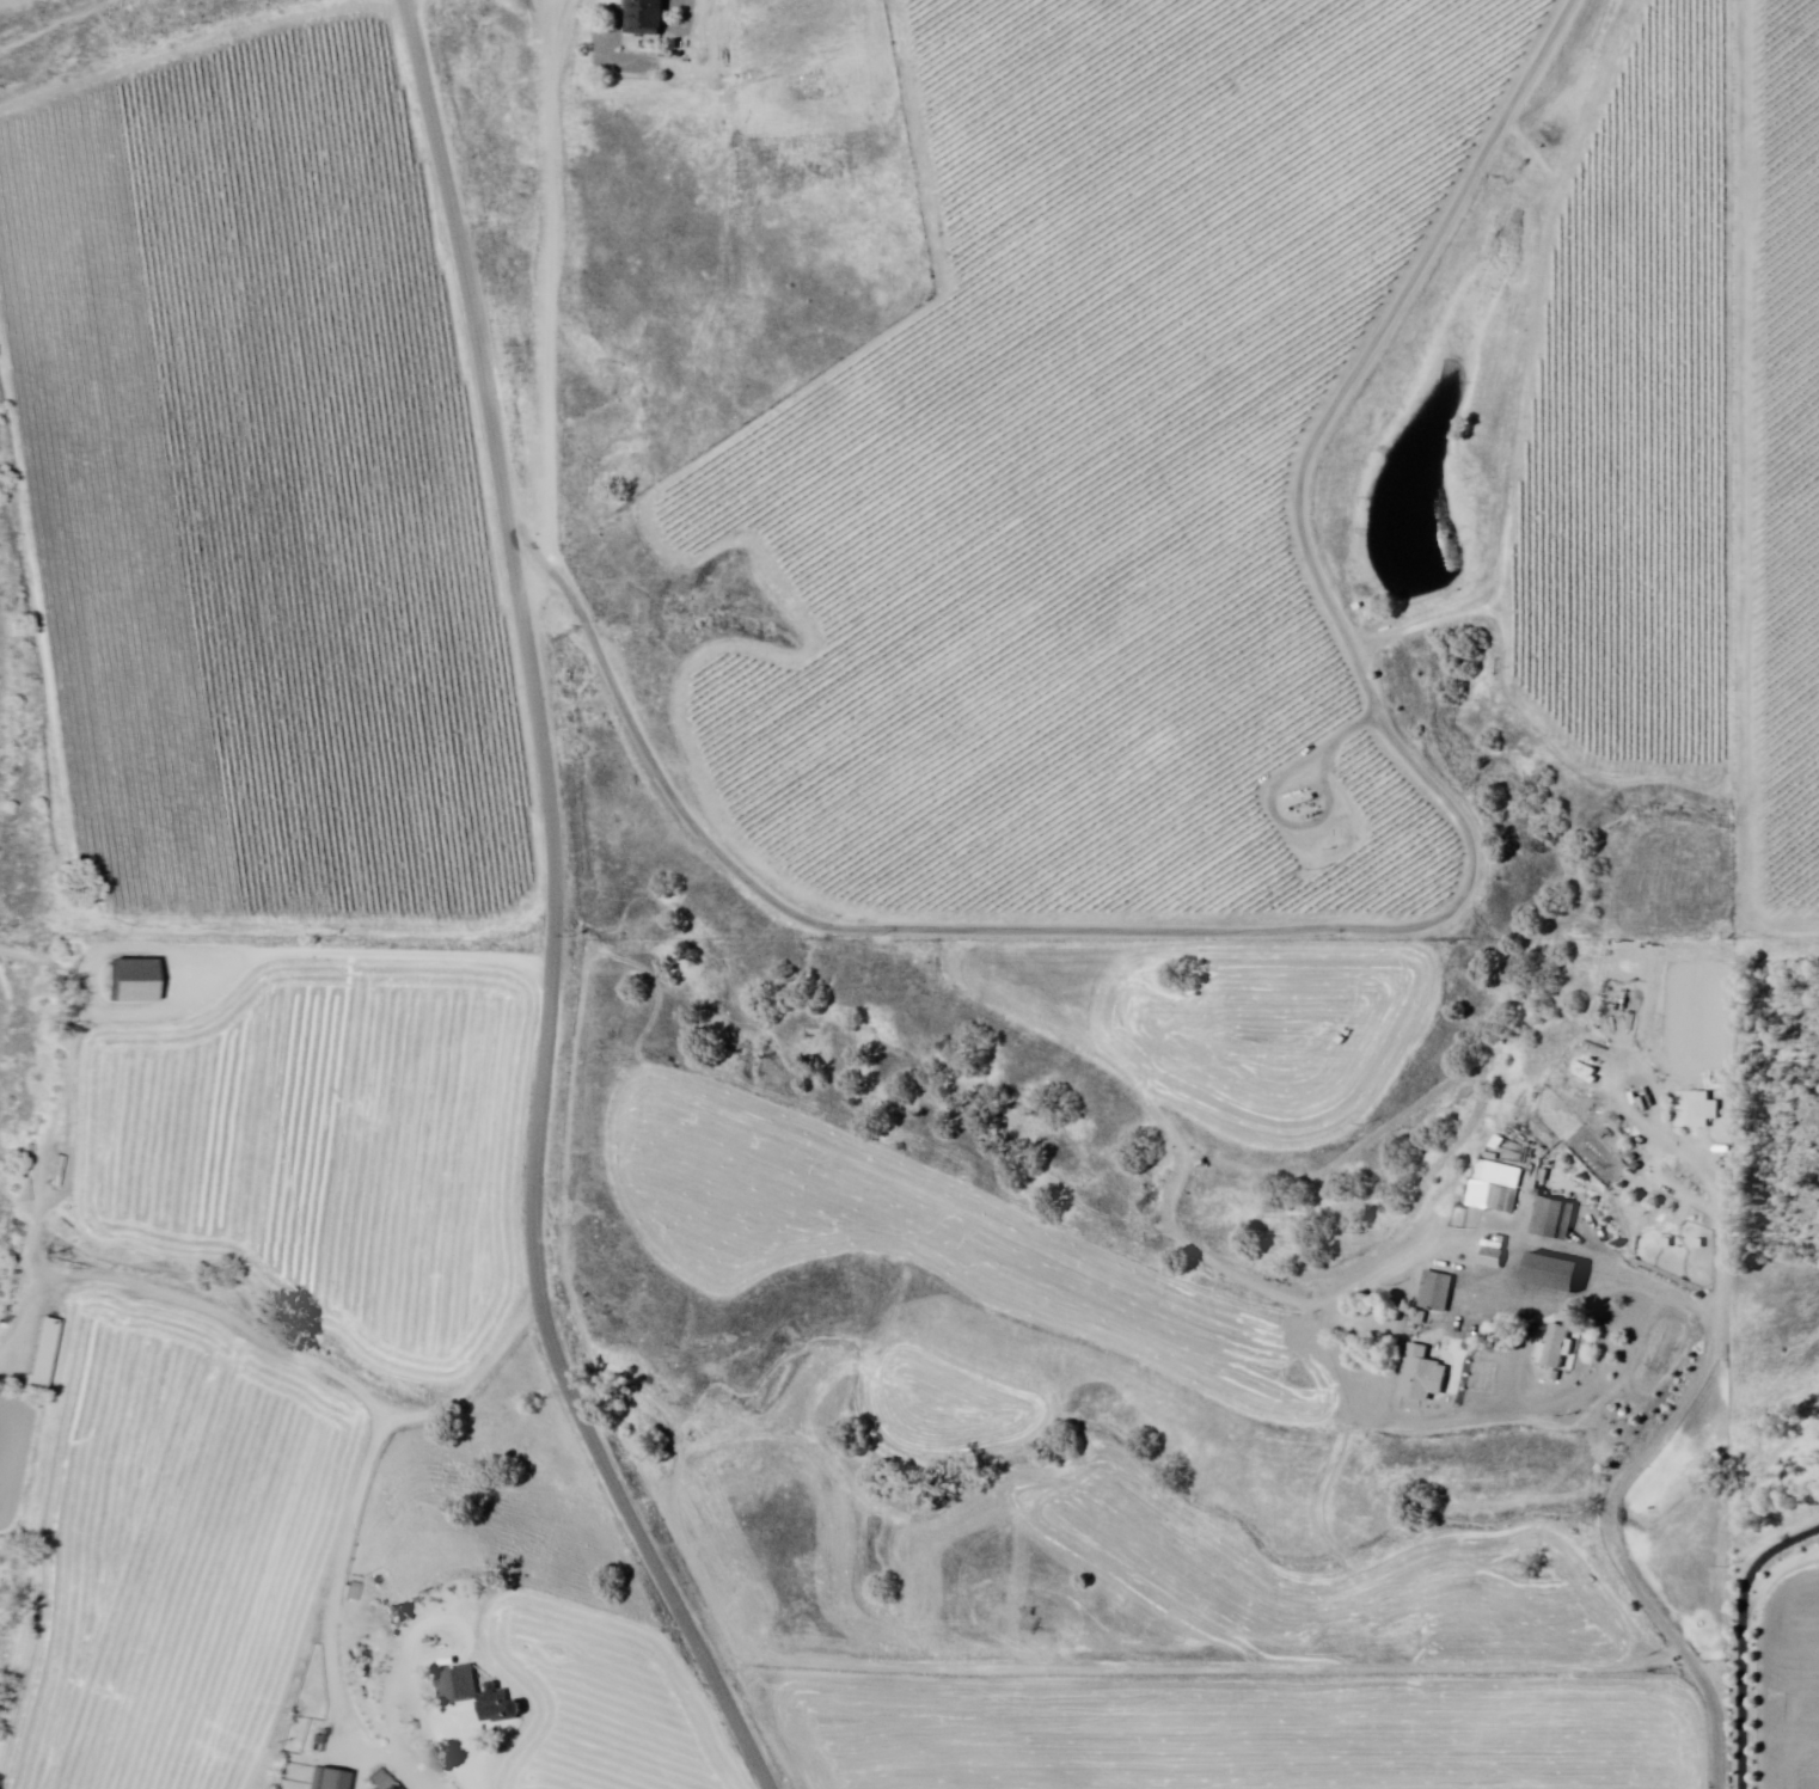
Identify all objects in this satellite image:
building: (648, 18)
road: (549, 295)
crop: (1355, 323)
crop: (263, 495)
road: (550, 914)
building: (133, 986)
building: (1705, 1110)
crop: (331, 1147)
building: (1503, 1201)
building: (1555, 1221)
building: (1670, 1245)
building: (1701, 1245)
building: (1495, 1256)
building: (1557, 1278)
building: (1438, 1293)
building: (1557, 1349)
building: (1426, 1378)
building: (1563, 1379)
storage tank: (1618, 1409)
storage tank: (1627, 1413)
road: (1658, 1442)
road: (353, 1517)
crop: (171, 1546)
building: (355, 1591)
road: (1743, 1641)
building: (366, 1662)
building: (458, 1684)
building: (498, 1703)
crop: (601, 1704)
building: (331, 1777)
building: (381, 1781)

